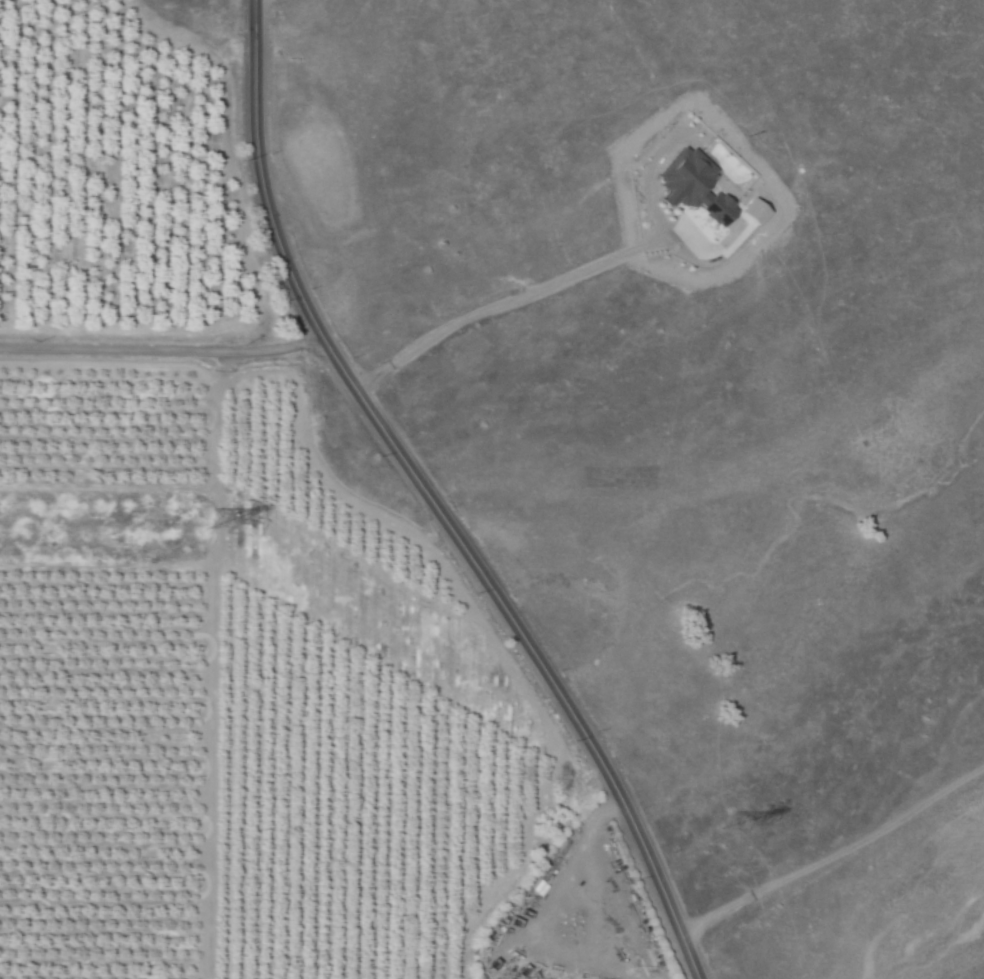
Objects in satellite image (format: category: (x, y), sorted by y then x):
road: (269, 178)
building: (698, 186)
building: (759, 210)
road: (517, 299)
road: (167, 343)
power tower: (209, 519)
road: (543, 645)
power tower: (723, 822)
road: (831, 855)
road: (545, 925)

